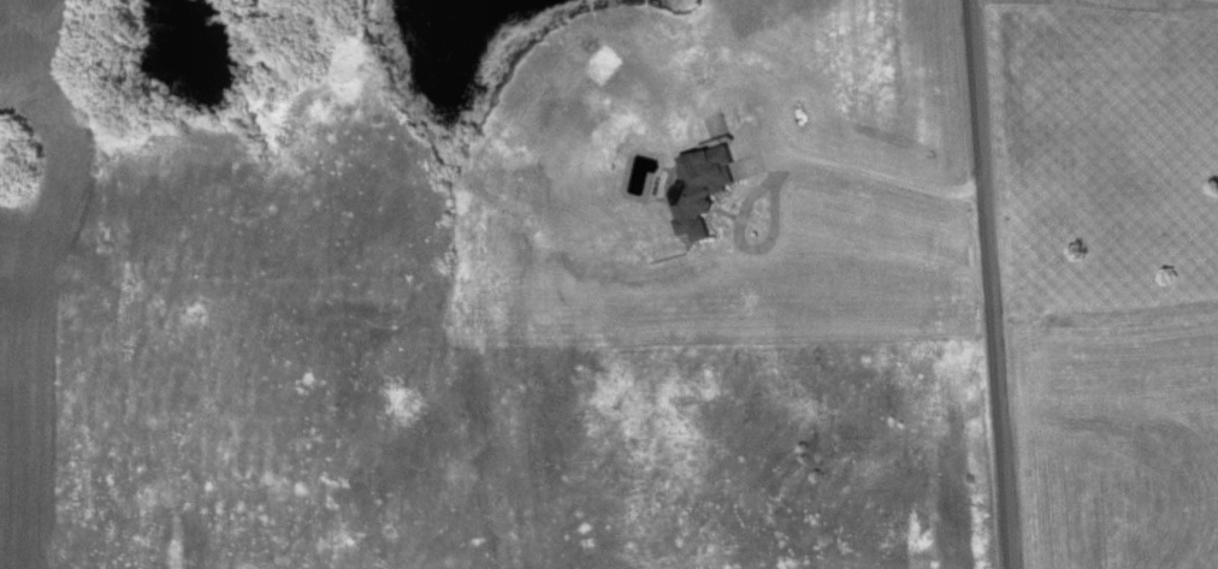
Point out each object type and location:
road: (1164, 5)
road: (885, 177)
building: (703, 189)
road: (991, 284)

